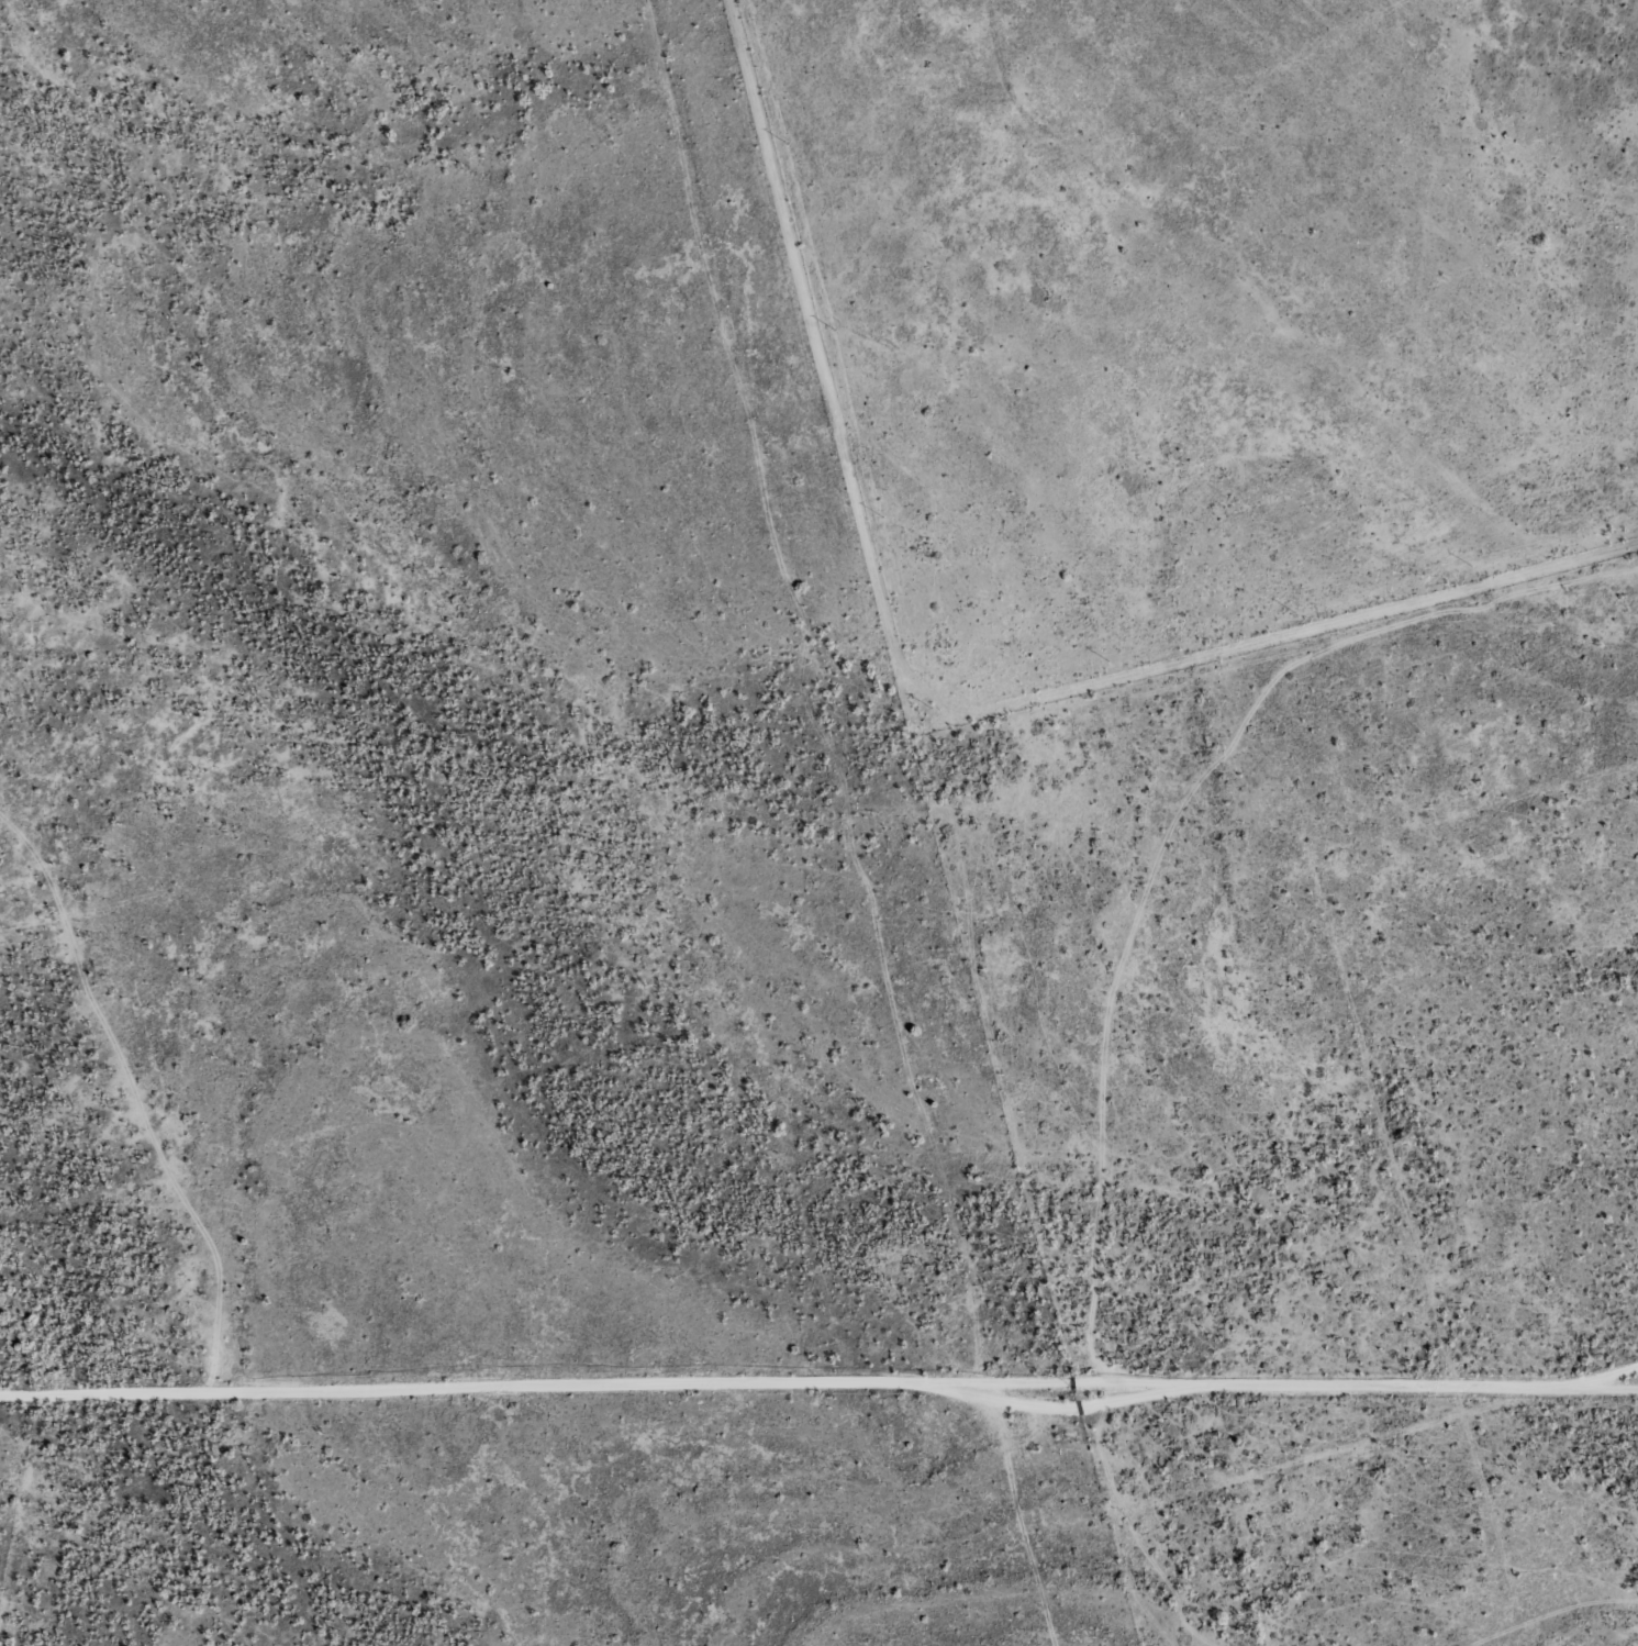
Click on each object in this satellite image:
road: (1233, 179)
road: (818, 1409)

